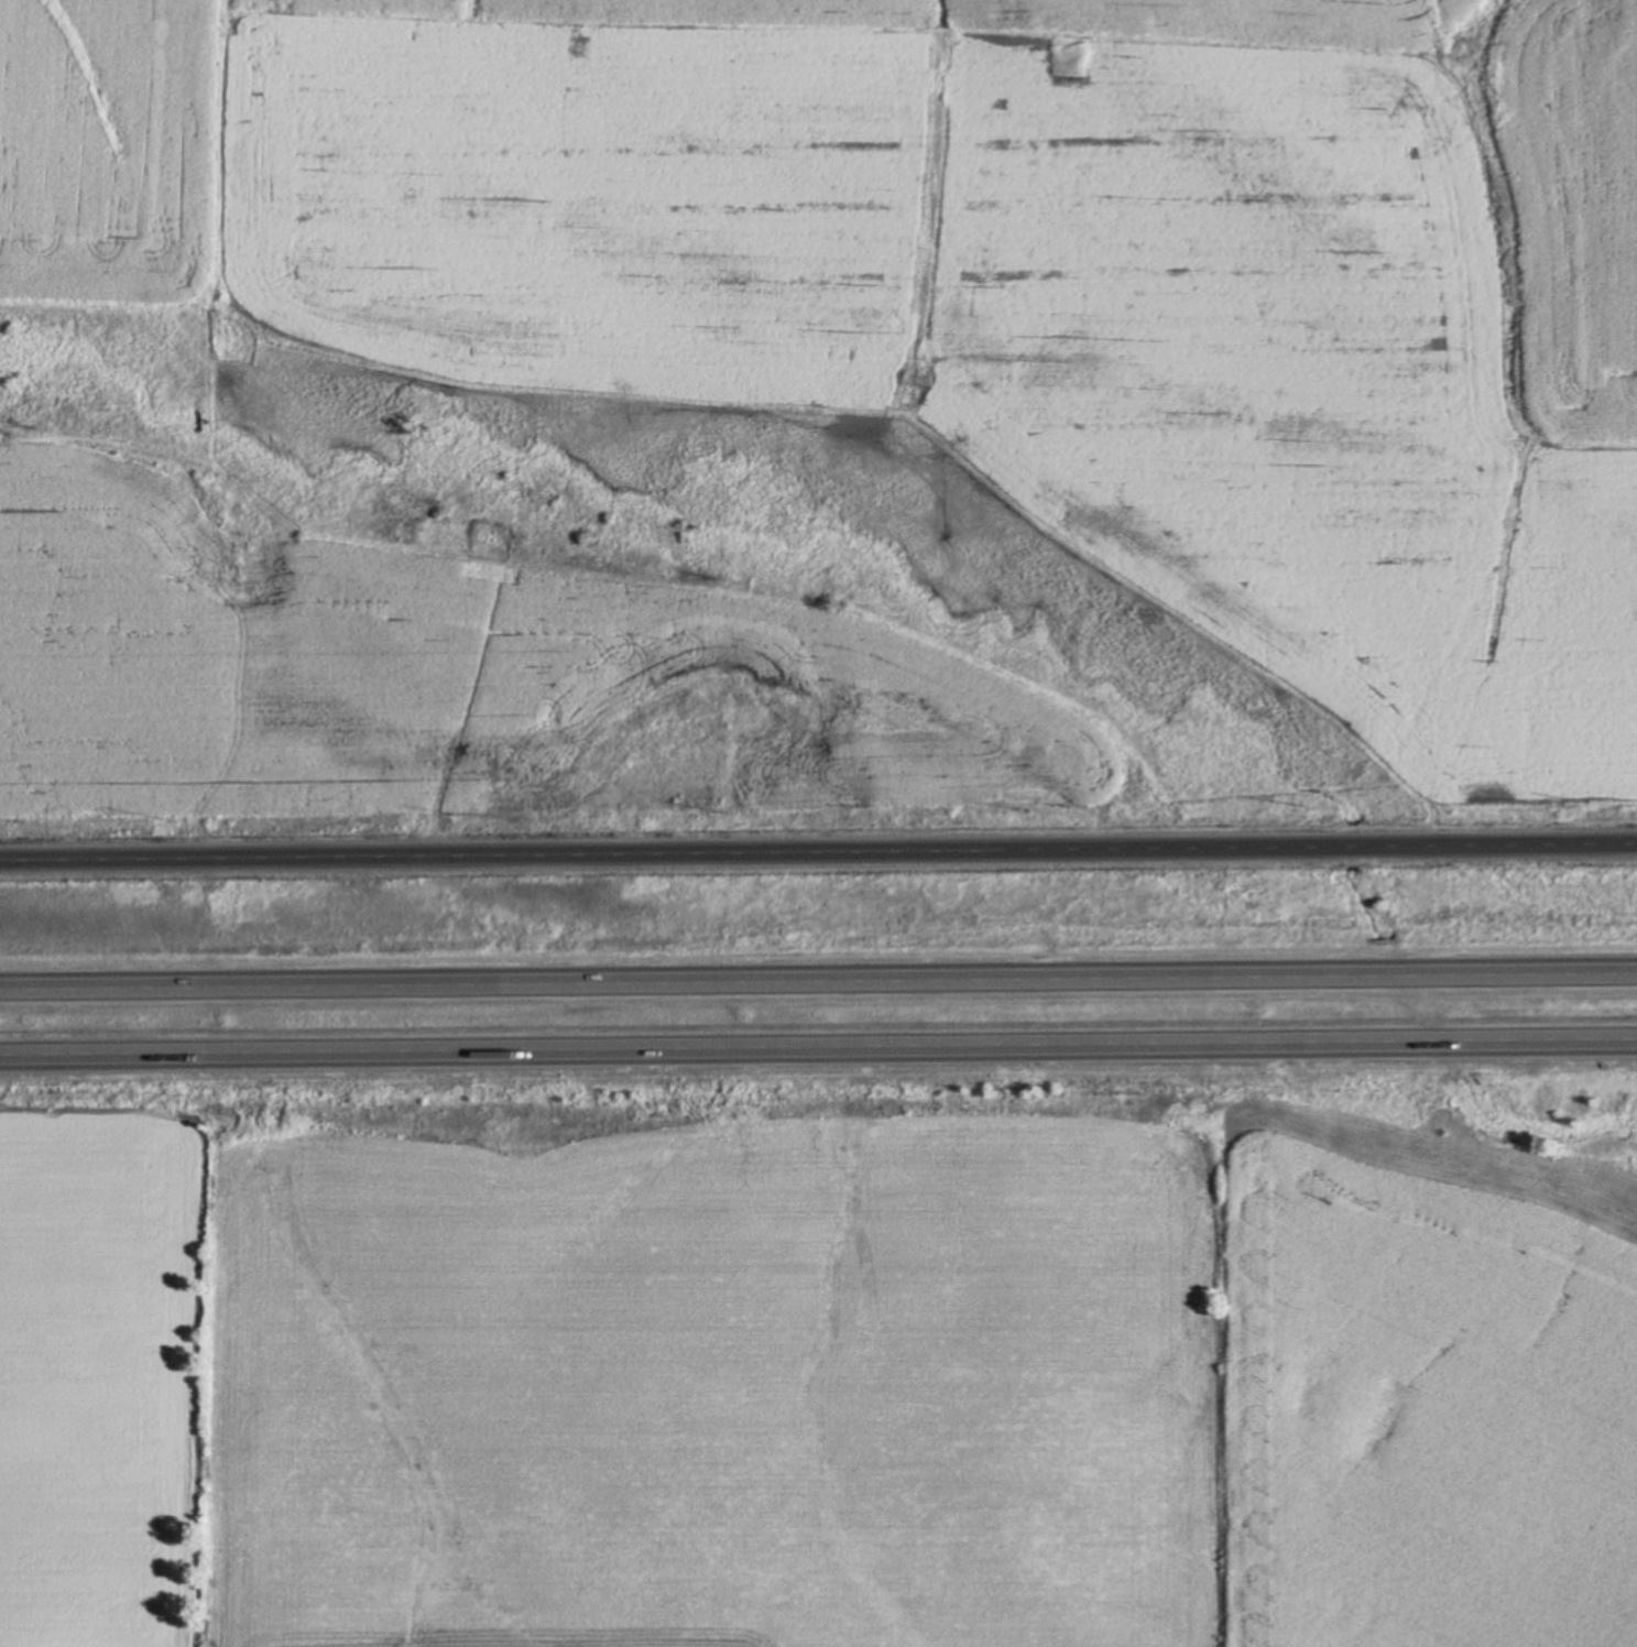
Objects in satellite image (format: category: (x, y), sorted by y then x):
road: (818, 854)
road: (818, 973)
road: (818, 1041)
building: (108, 1052)
crop: (807, 1378)

